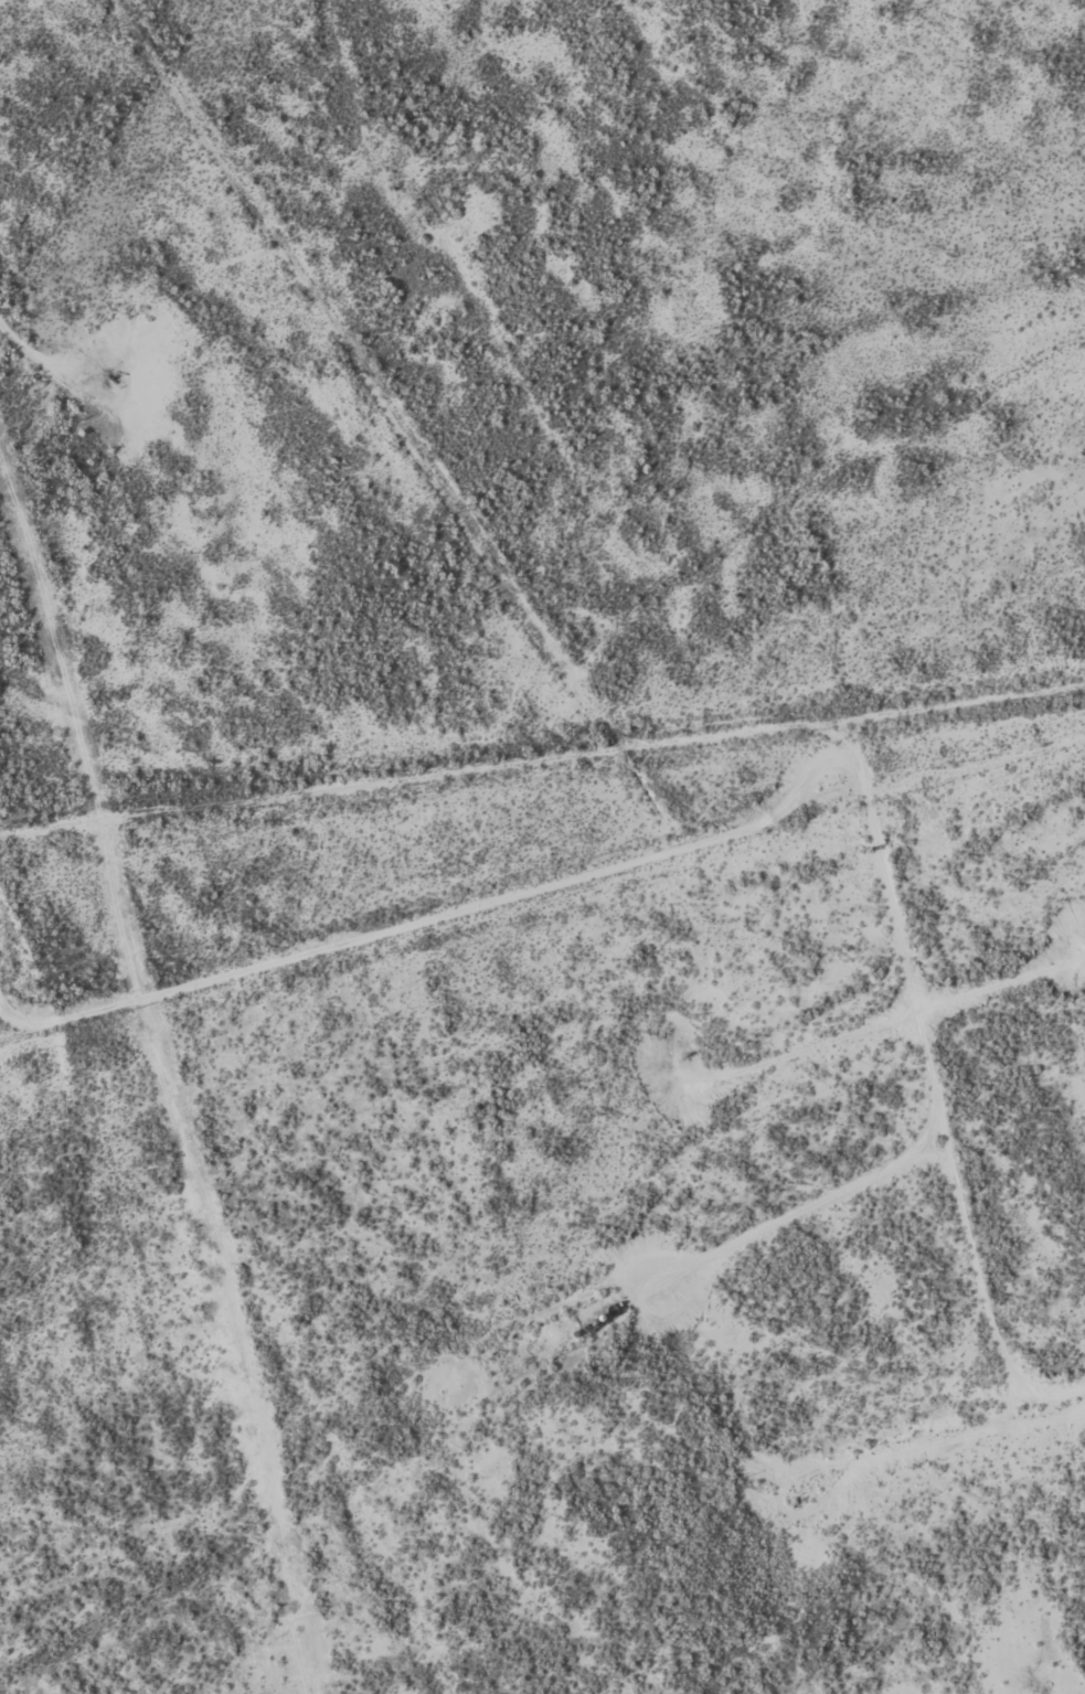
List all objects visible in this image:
road: (502, 564)
road: (292, 793)
road: (937, 1085)
road: (1064, 1427)

